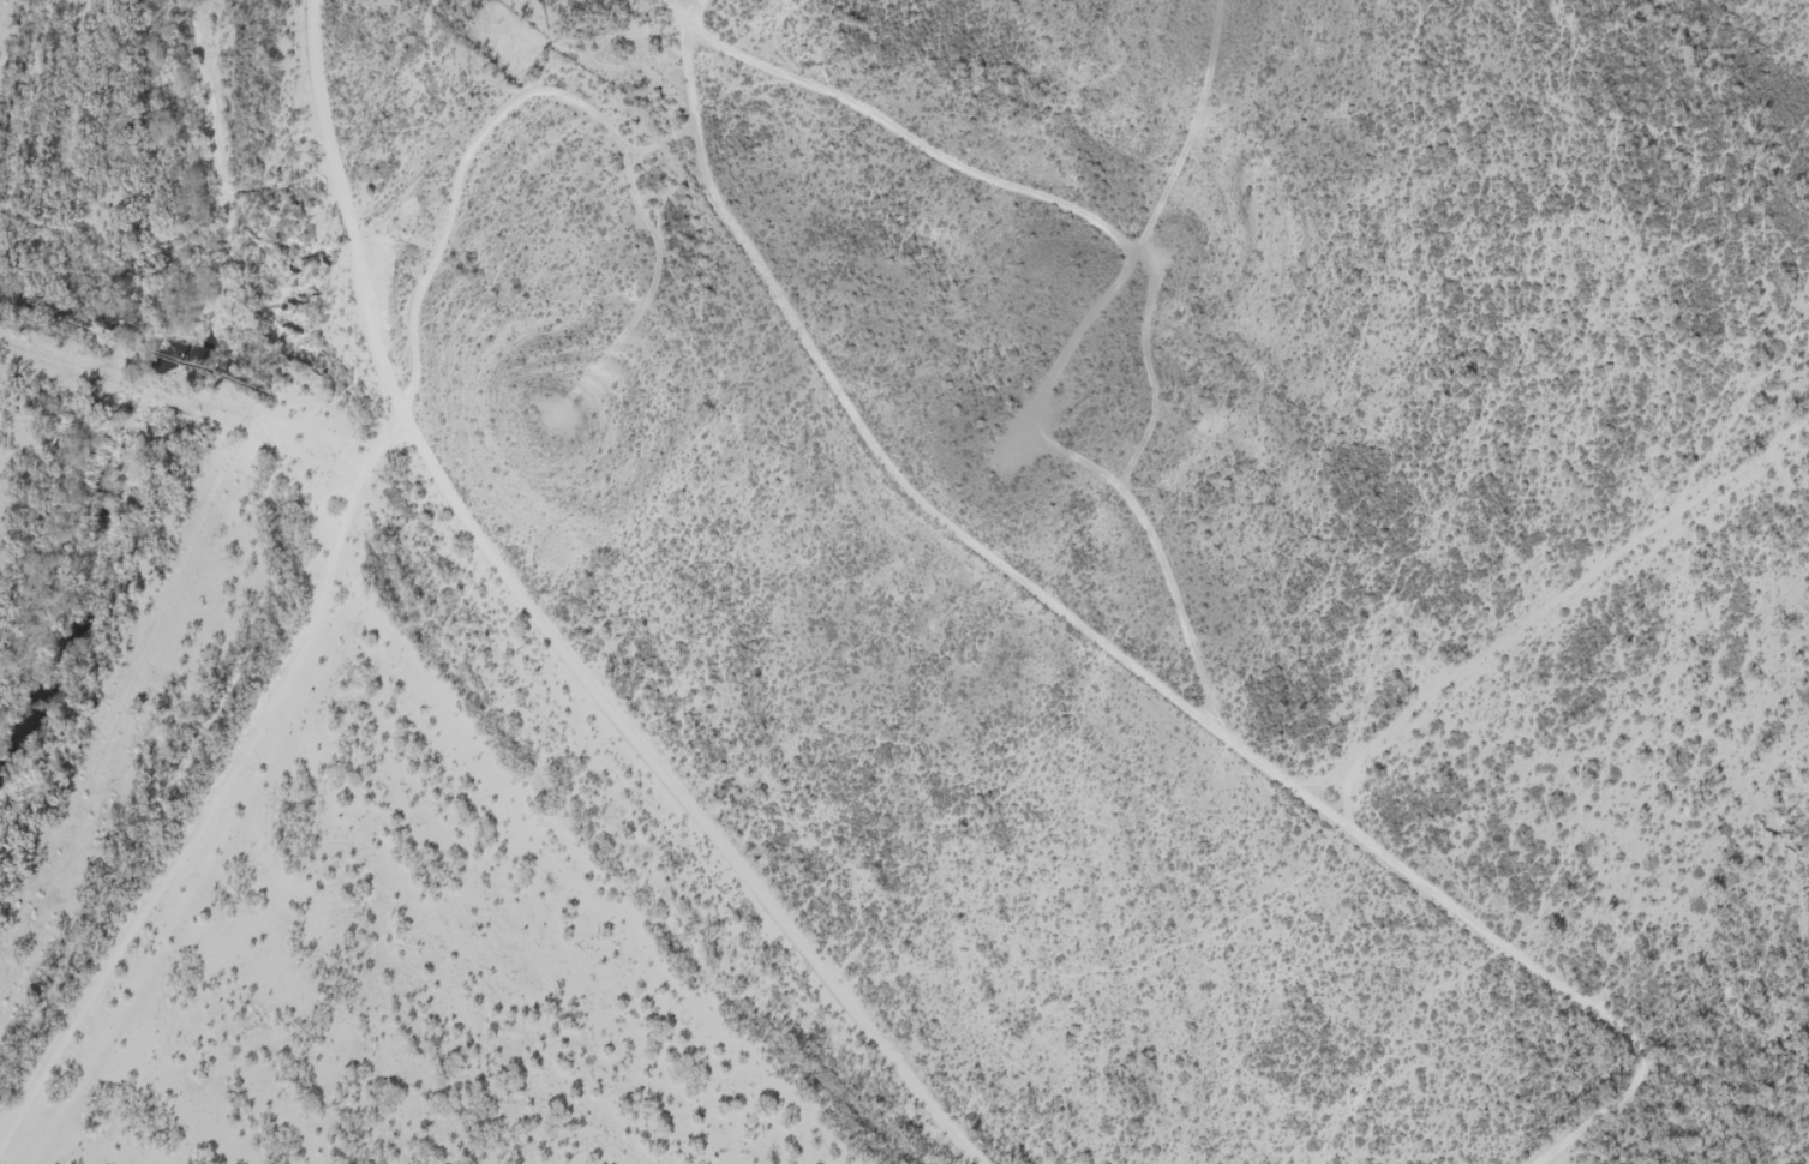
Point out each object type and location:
road: (675, 24)
road: (353, 215)
road: (492, 557)

